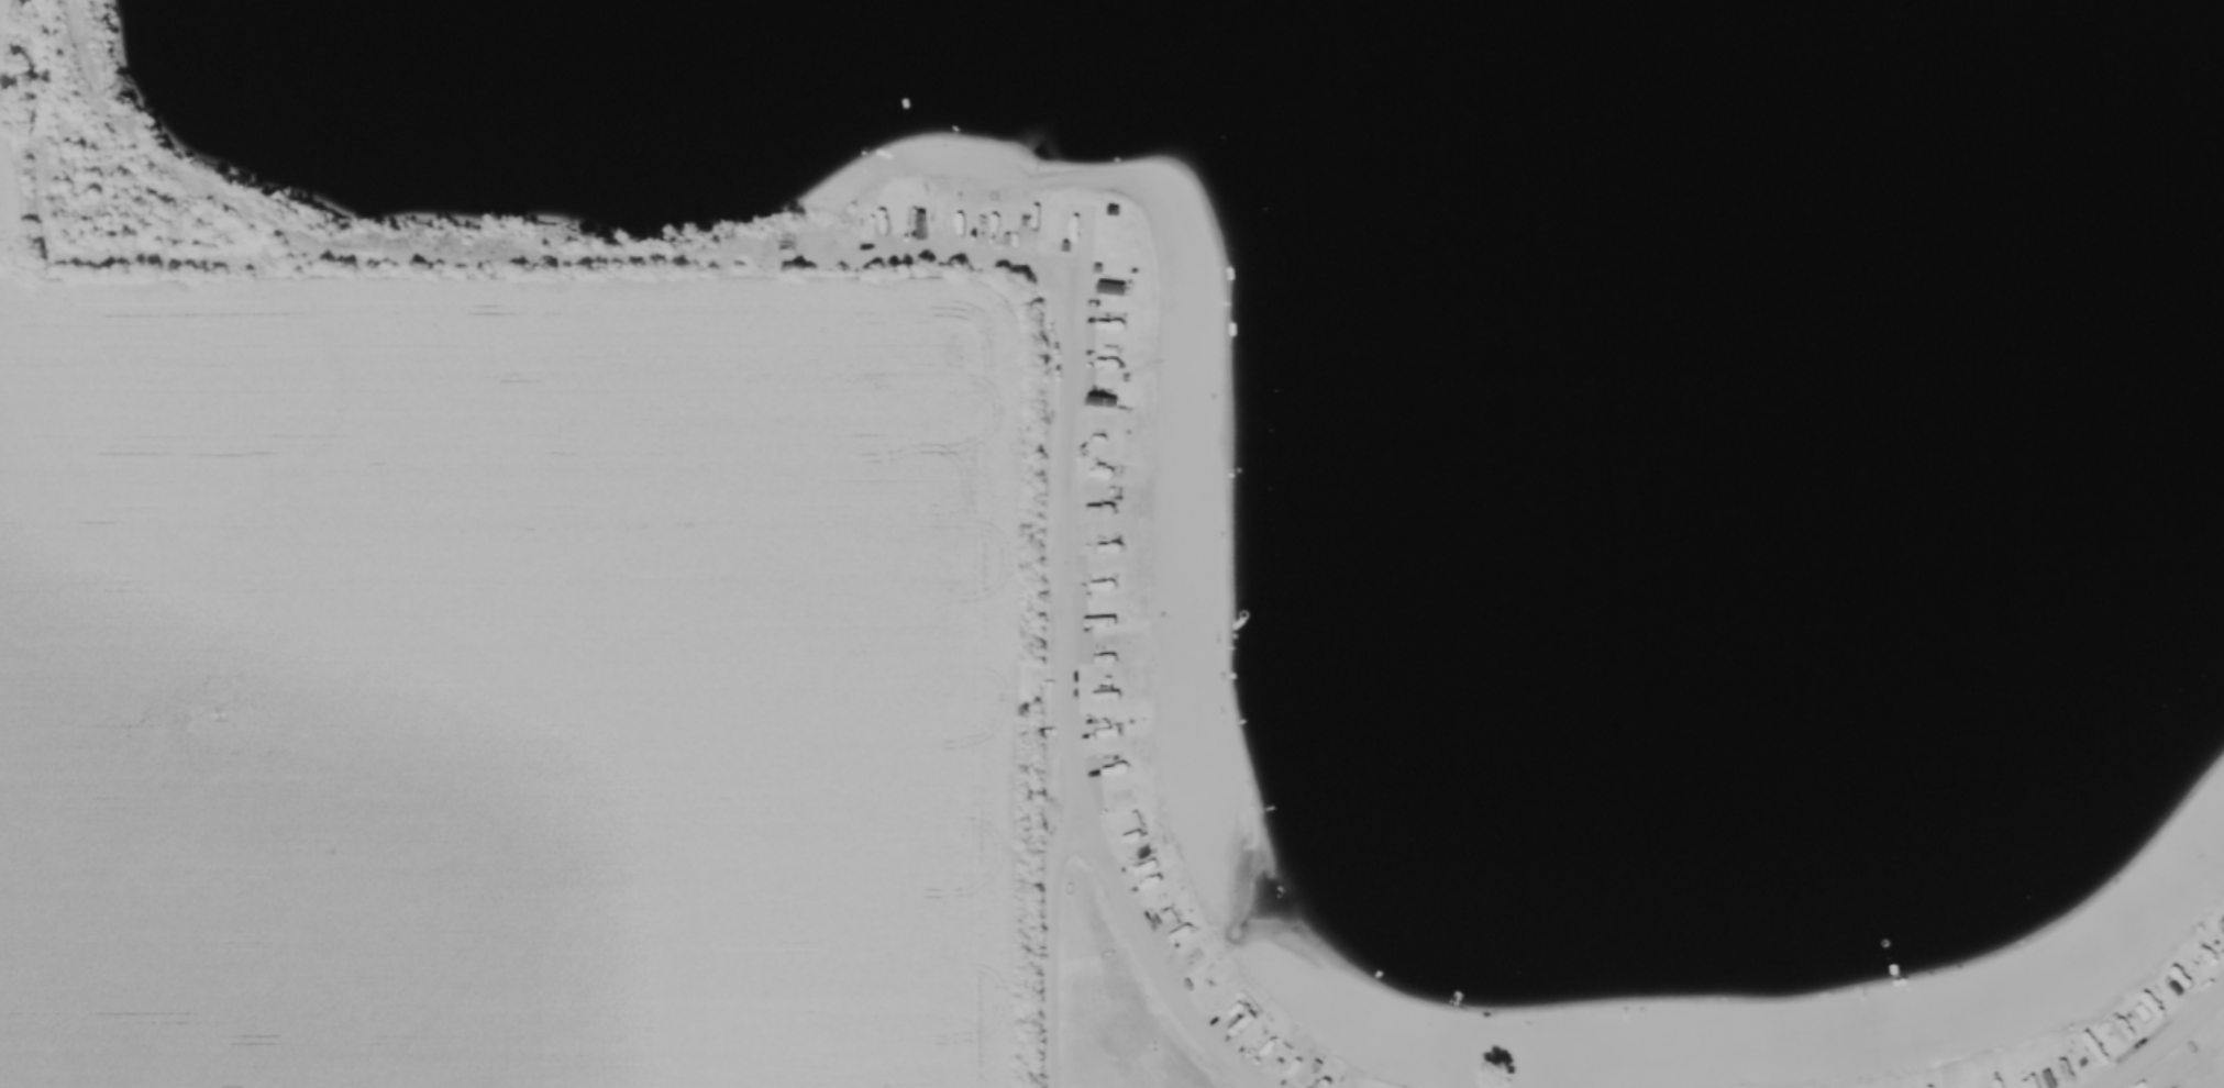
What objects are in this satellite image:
road: (1061, 611)
road: (1047, 946)
road: (2167, 1040)

